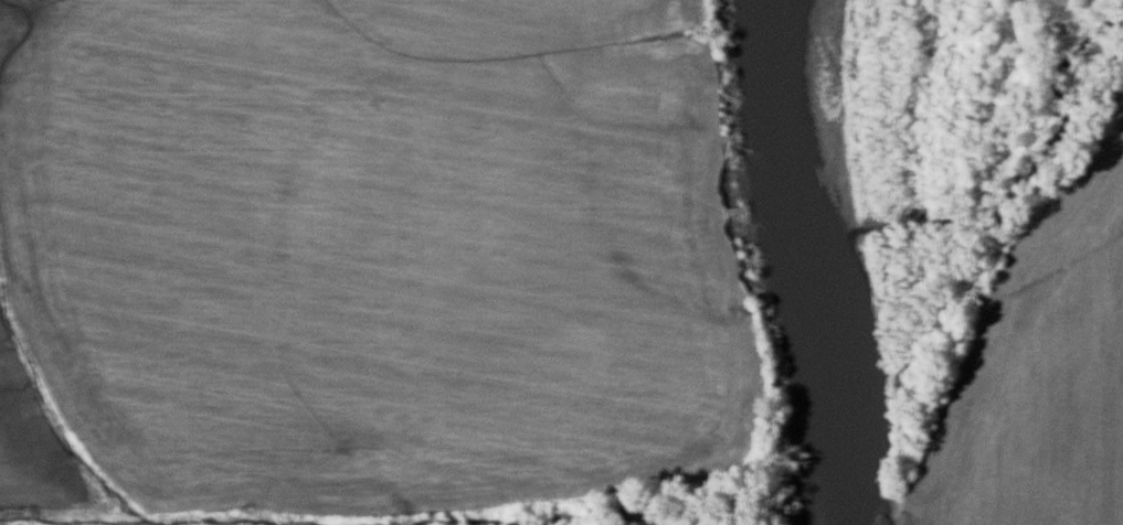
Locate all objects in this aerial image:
river: (806, 265)

